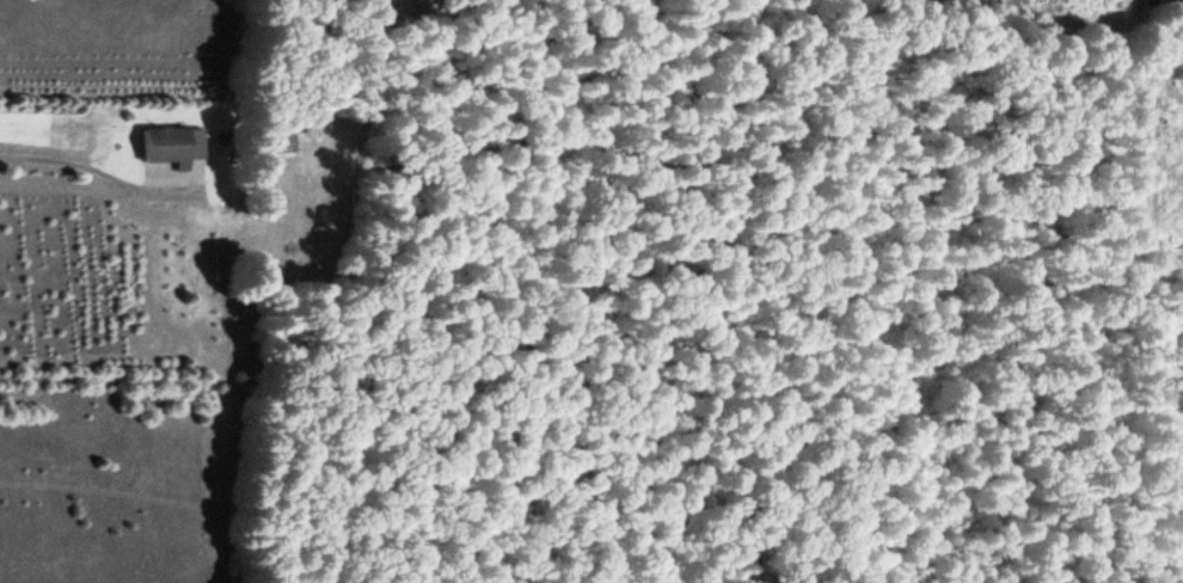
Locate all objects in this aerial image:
building: (168, 147)

